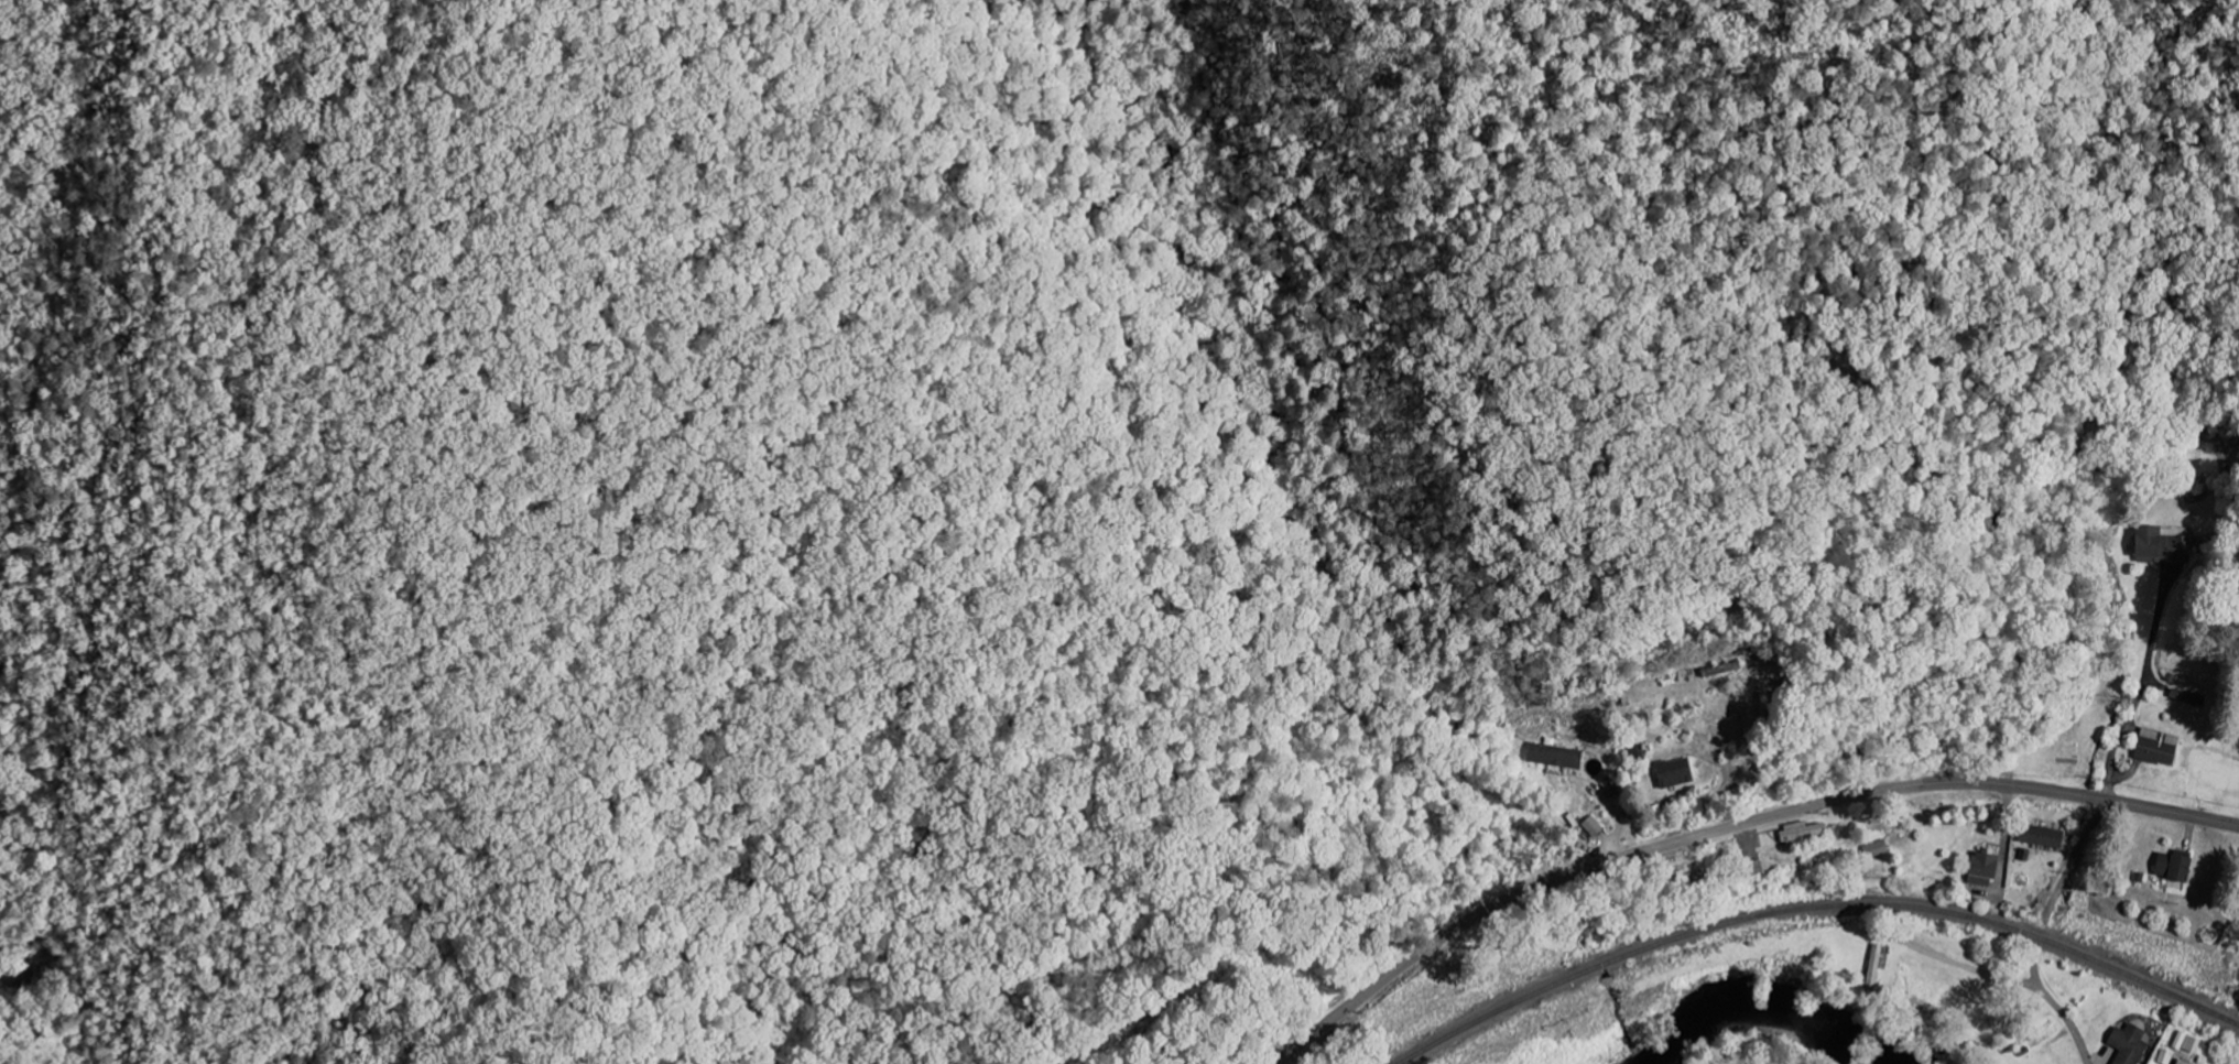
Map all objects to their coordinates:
building: (2160, 546)
road: (2140, 695)
building: (2160, 747)
building: (1557, 756)
building: (1675, 772)
building: (1594, 826)
road: (1730, 827)
building: (1803, 832)
building: (2043, 836)
building: (1877, 849)
road: (2077, 856)
road: (2002, 865)
building: (2177, 866)
building: (1986, 869)
railway: (1816, 905)
road: (1010, 914)
building: (1876, 967)
river: (1769, 1002)
road: (2066, 1021)
building: (2130, 1044)
building: (2166, 1056)
building: (2183, 1063)

